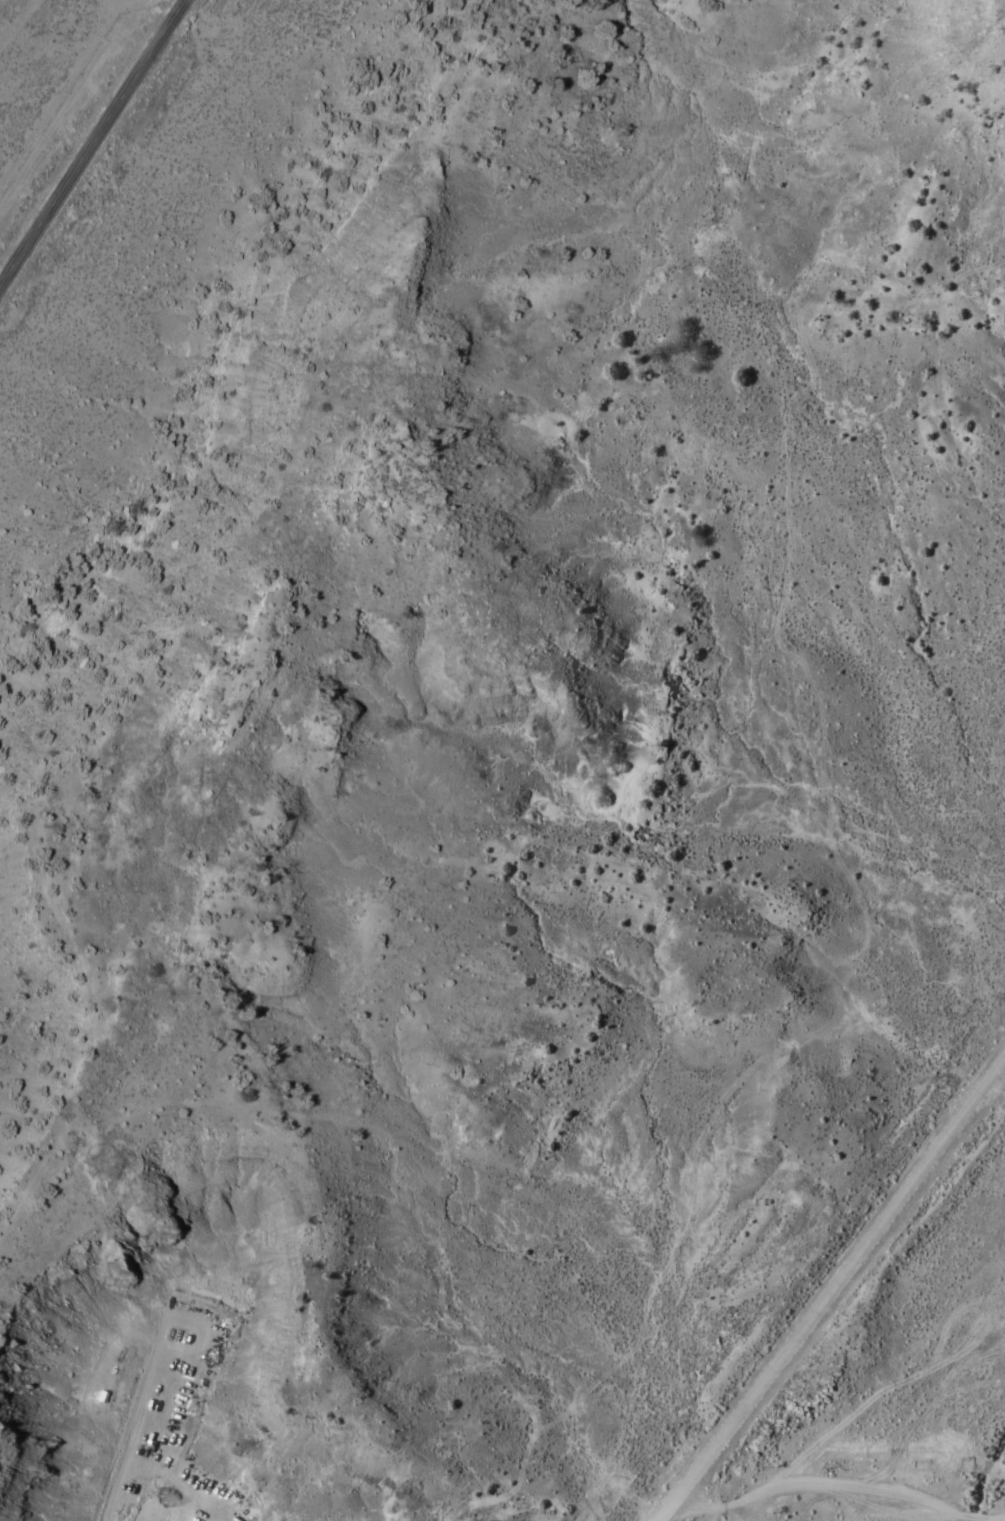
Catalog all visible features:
road: (87, 140)
road: (832, 1293)
road: (912, 1506)
road: (1002, 1509)
road: (998, 1515)

